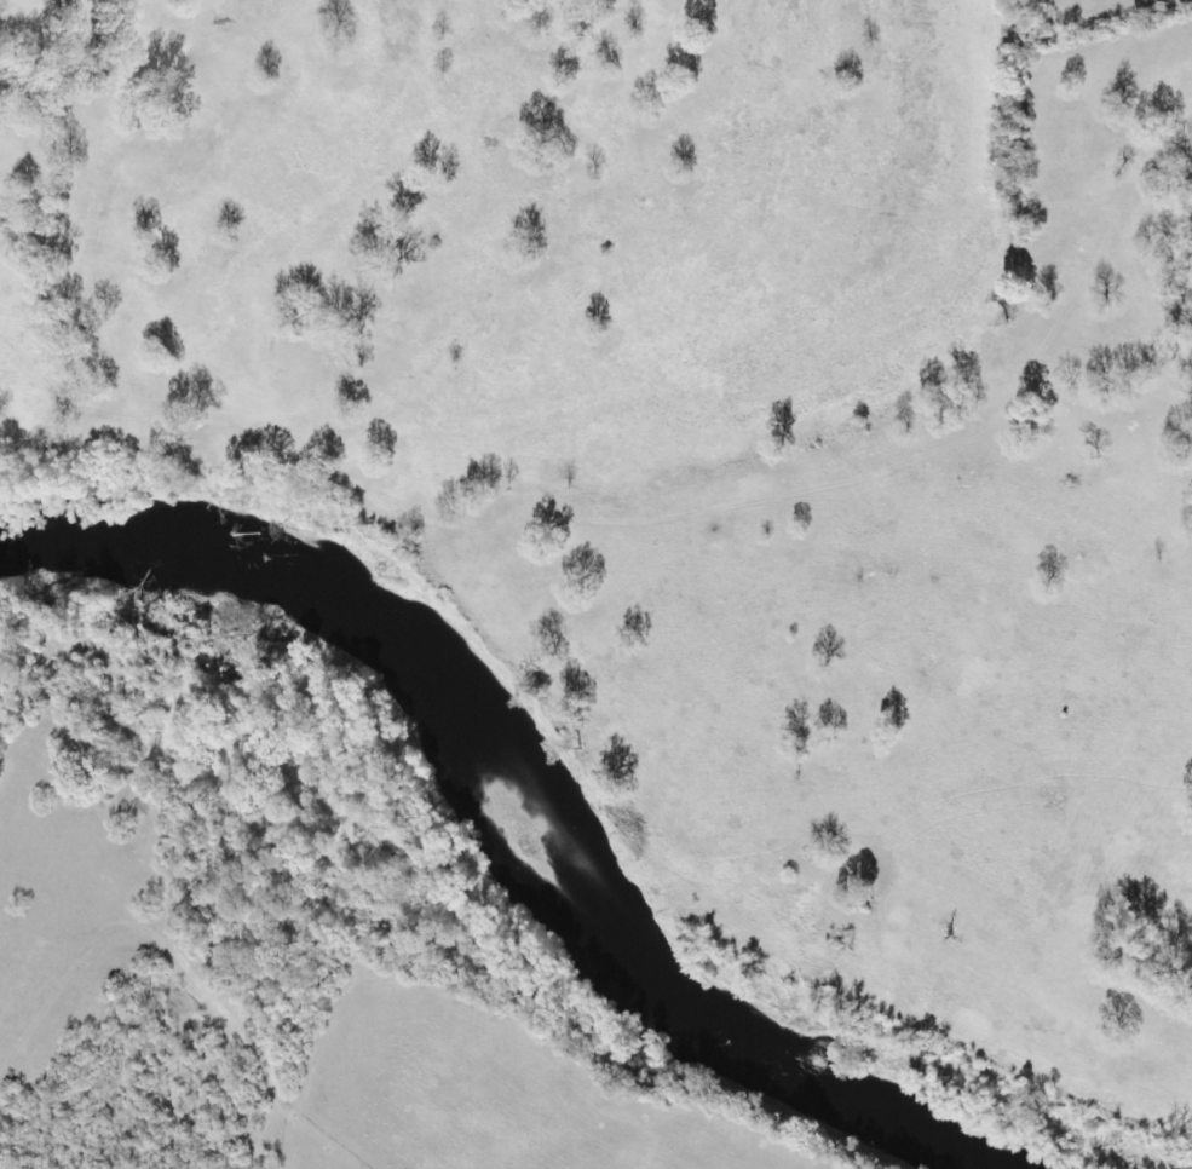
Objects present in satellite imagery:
river: (516, 833)

